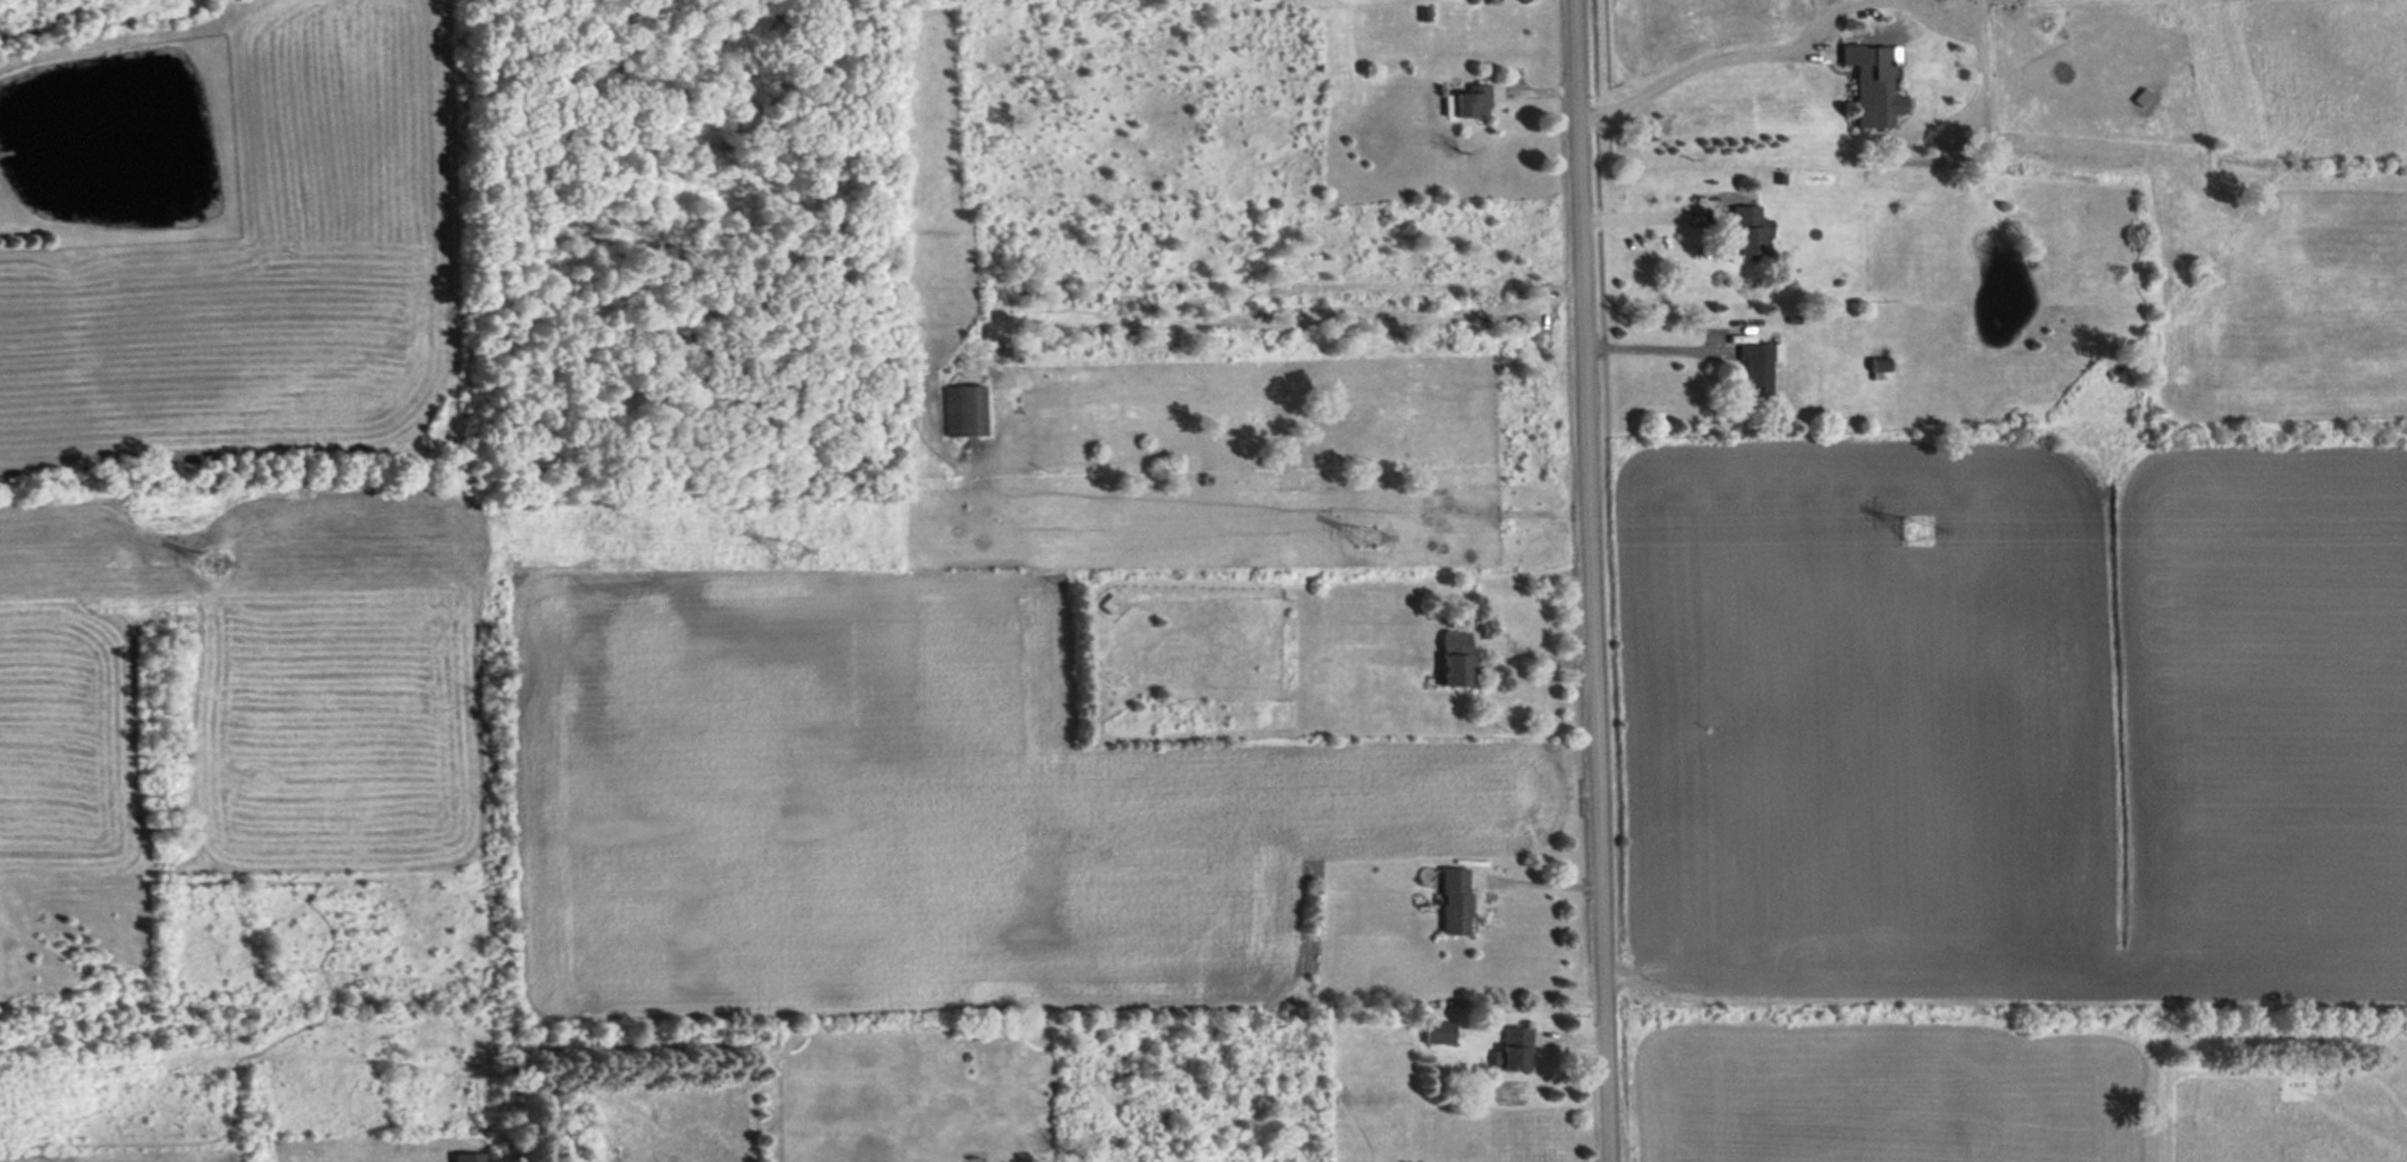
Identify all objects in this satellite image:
road: (1756, 55)
building: (1873, 83)
building: (1467, 102)
road: (1657, 220)
building: (1749, 229)
road: (1650, 346)
building: (1759, 367)
building: (1879, 369)
building: (963, 410)
road: (1592, 580)
road: (1531, 653)
building: (1456, 660)
road: (1535, 886)
building: (1454, 901)
building: (1437, 1032)
building: (1511, 1050)
building: (467, 1157)

